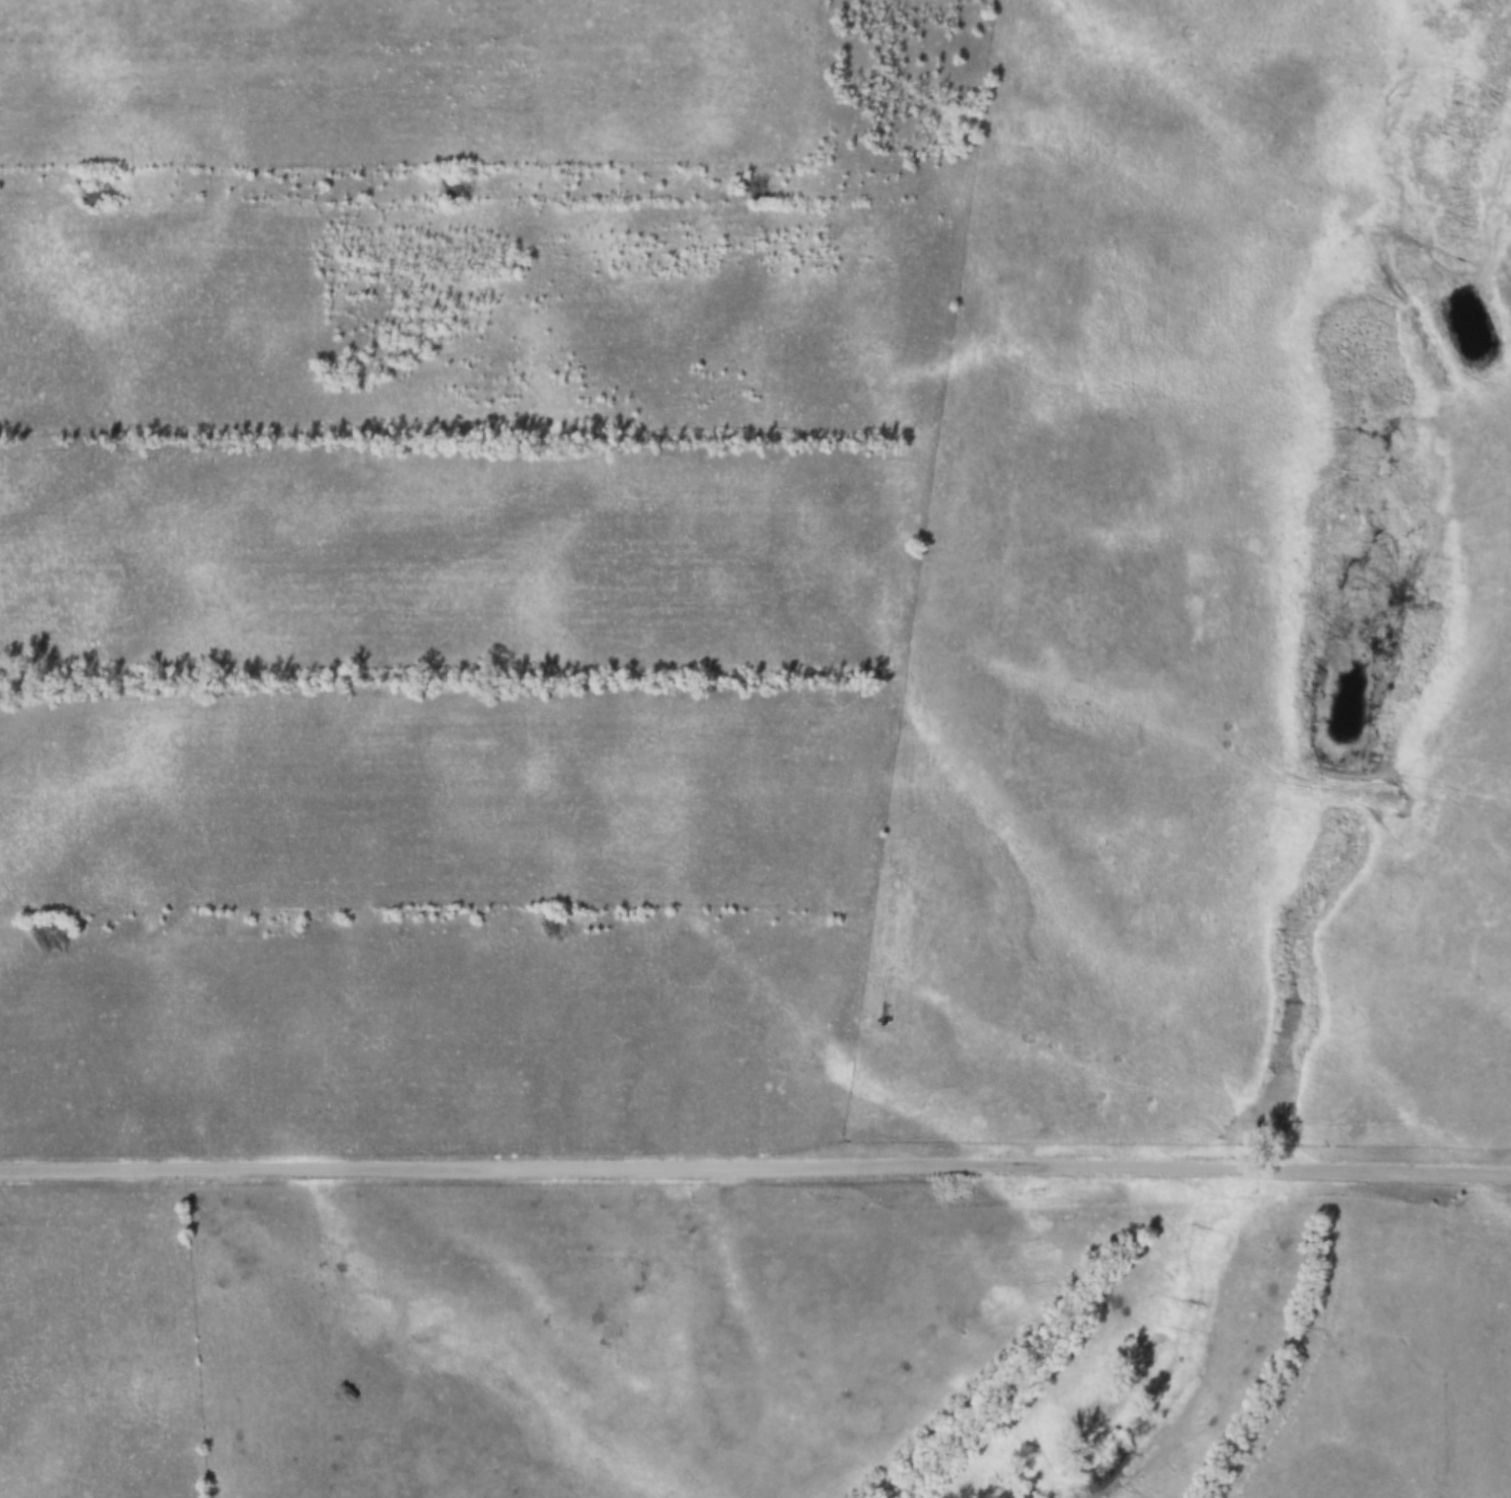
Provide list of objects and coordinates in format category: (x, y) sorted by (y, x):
road: (755, 1168)

